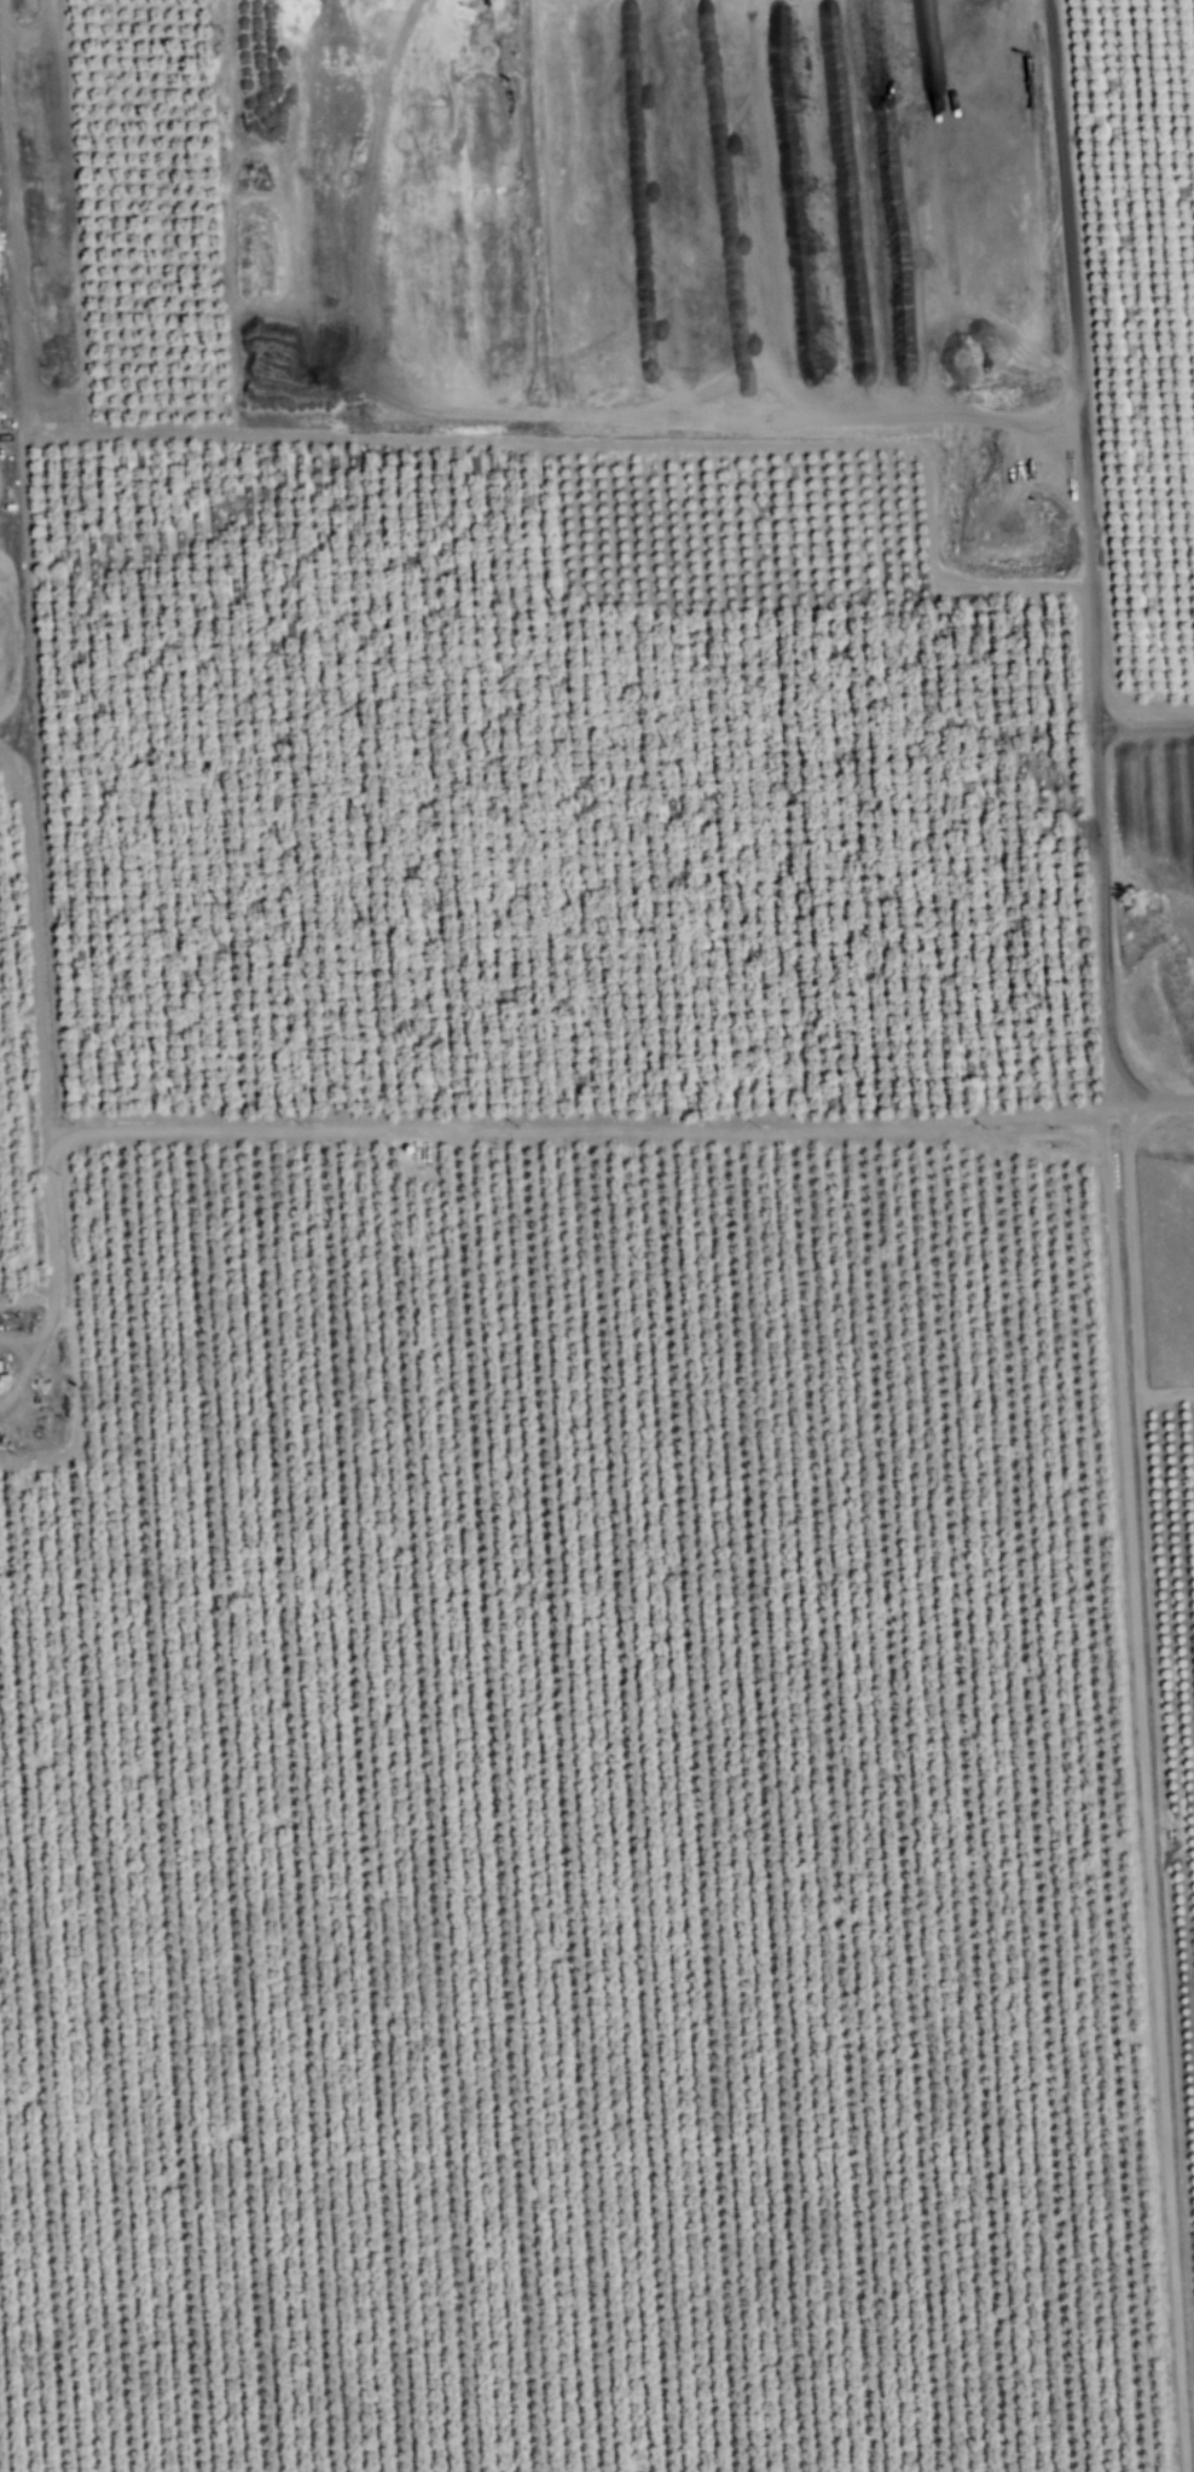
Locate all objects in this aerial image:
road: (505, 1131)

